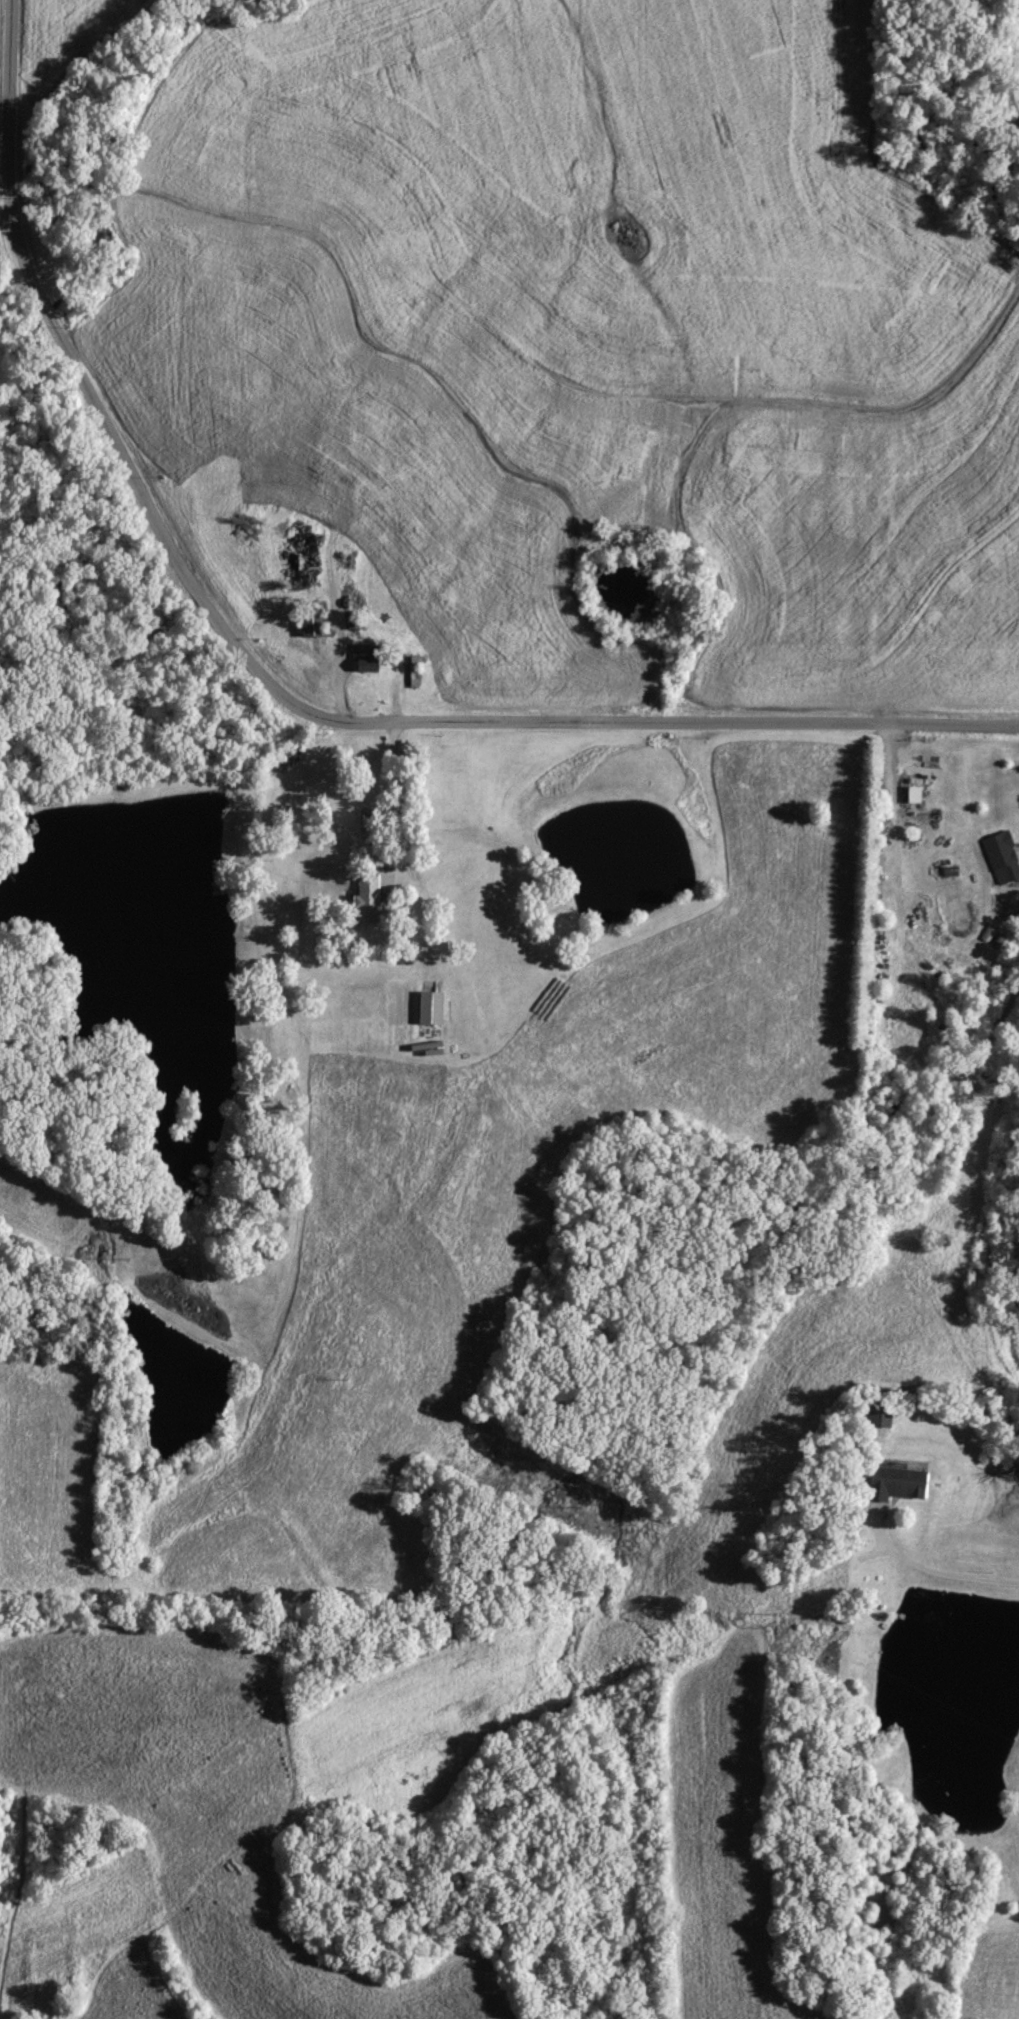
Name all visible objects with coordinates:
building: (307, 621)
road: (270, 687)
building: (910, 793)
building: (999, 856)
building: (365, 898)
building: (426, 1006)
building: (878, 1413)
building: (892, 1481)
road: (922, 1568)

